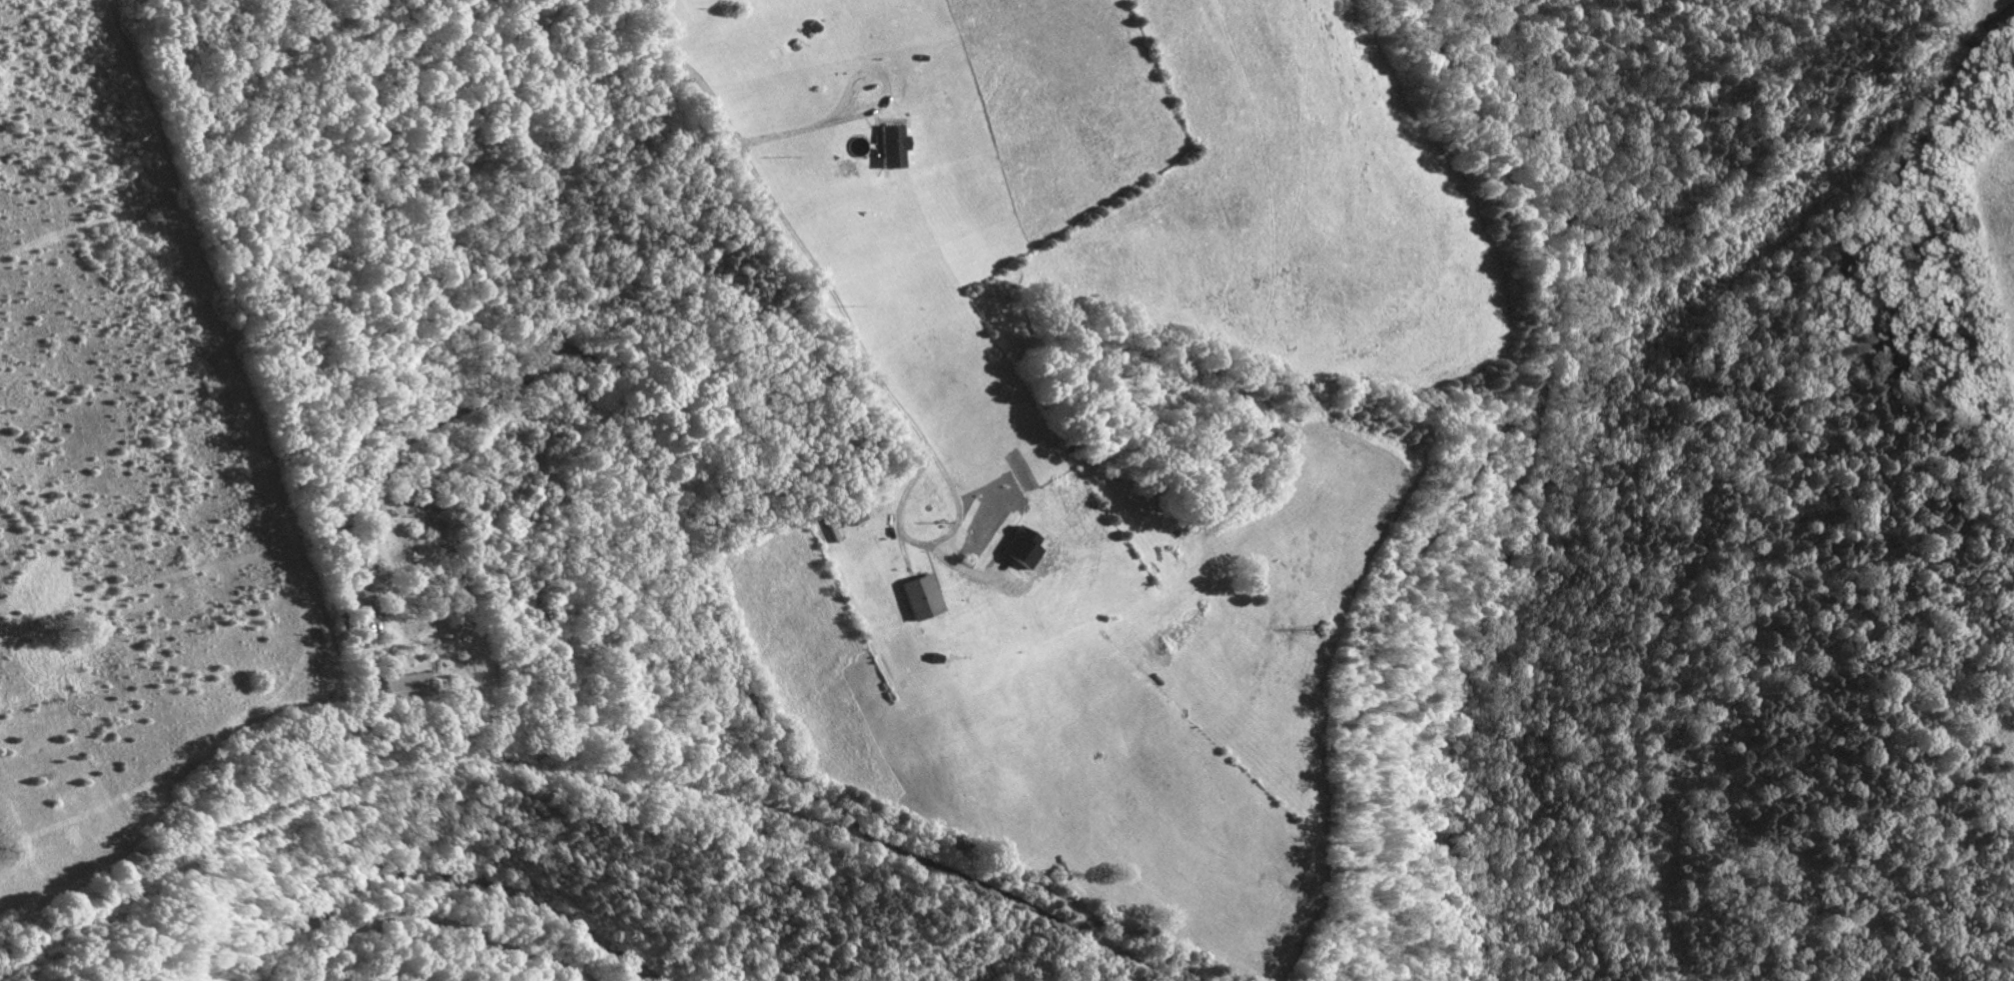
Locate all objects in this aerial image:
road: (865, 110)
building: (891, 146)
road: (785, 223)
road: (1521, 482)
road: (927, 540)
building: (1020, 546)
building: (922, 595)
railway: (1165, 973)

